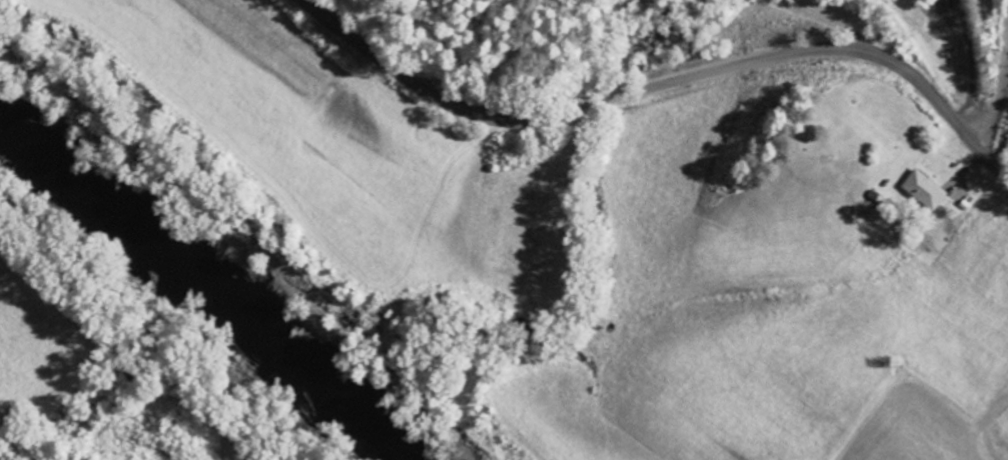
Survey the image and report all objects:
road: (661, 84)
building: (924, 191)
river: (194, 286)

